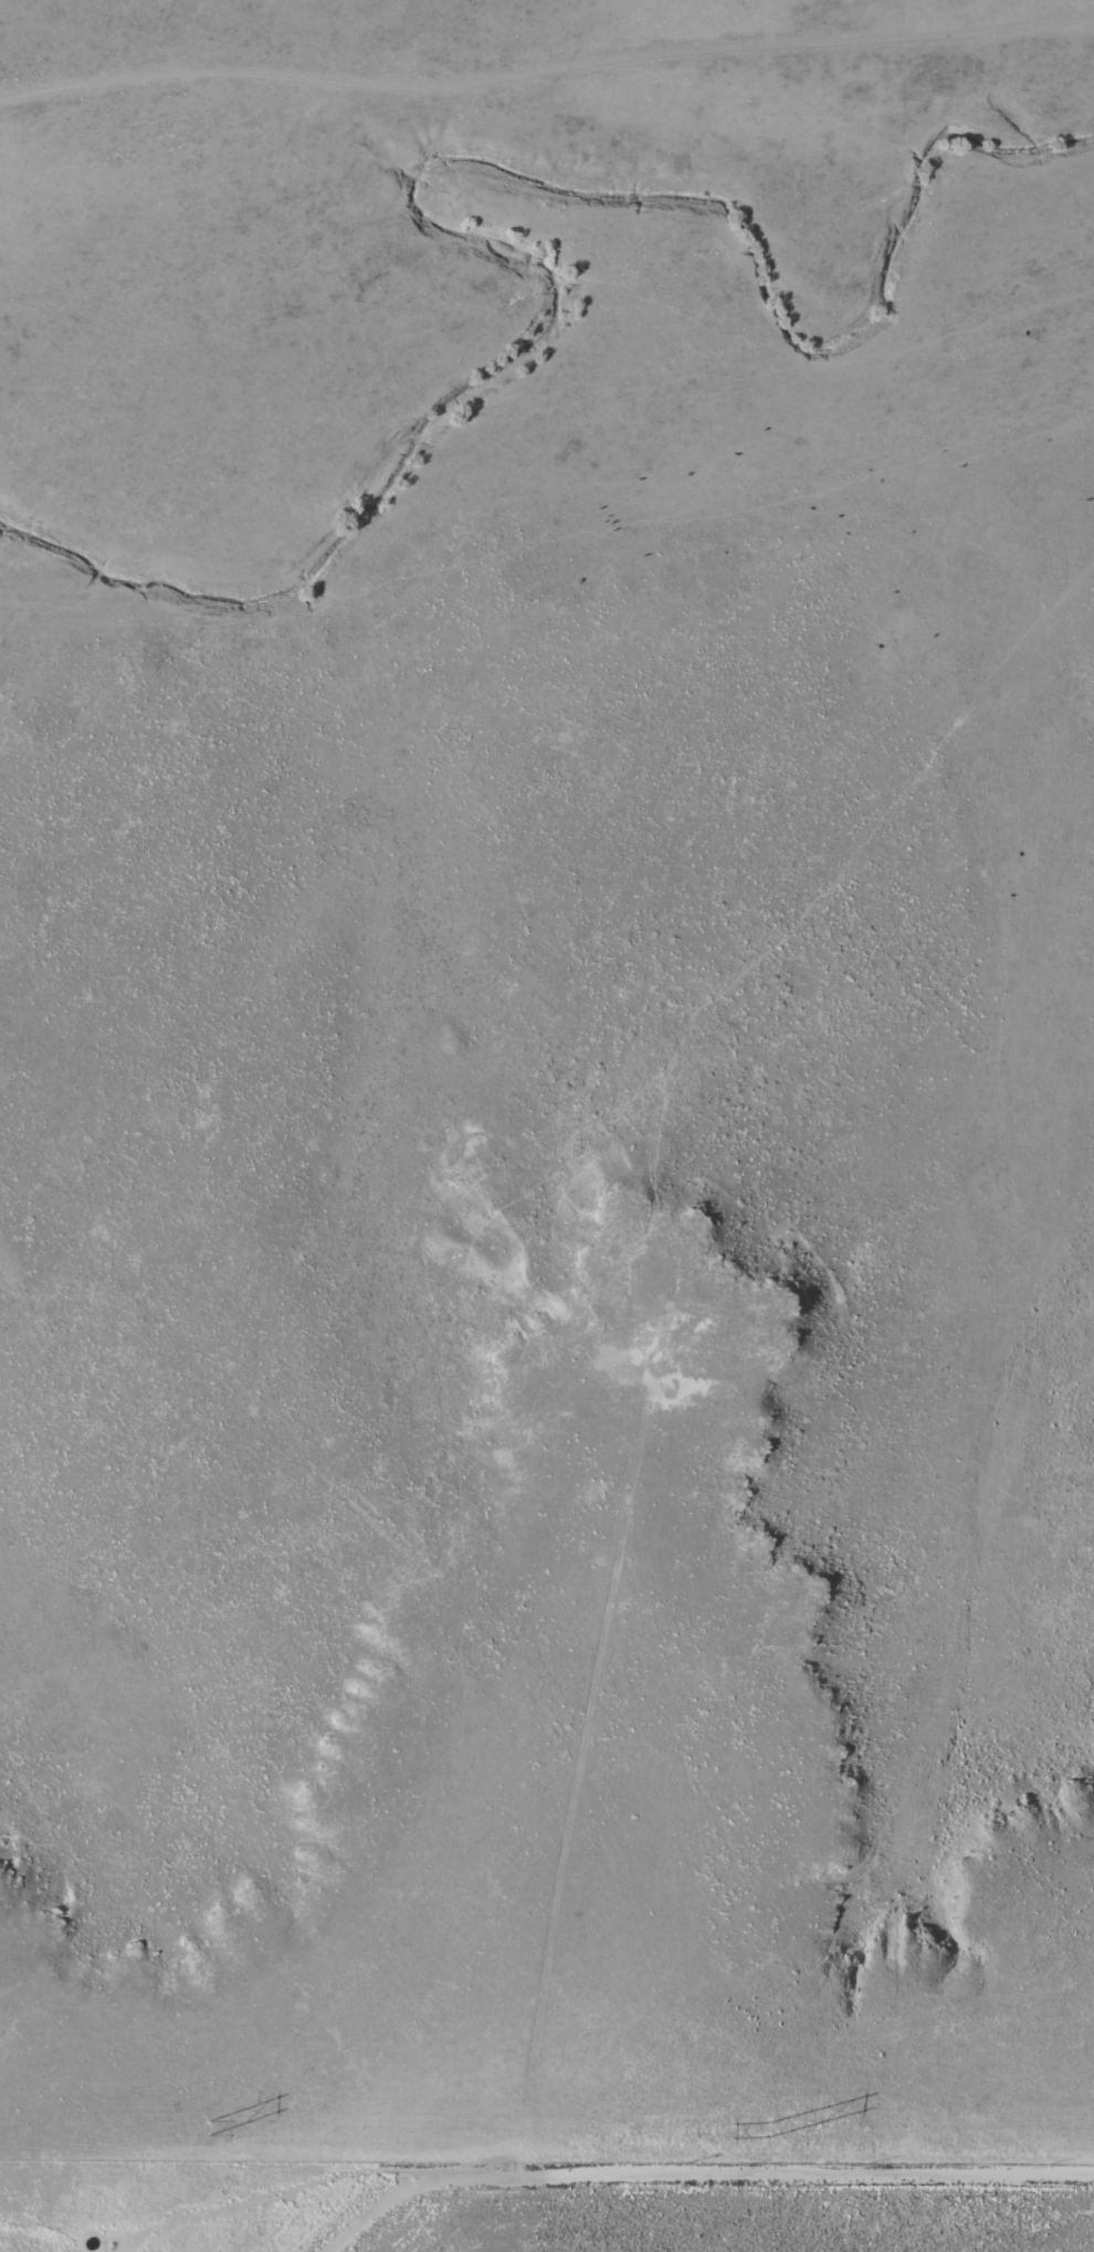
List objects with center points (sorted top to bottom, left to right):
power tower: (208, 2128)
power tower: (768, 2130)

